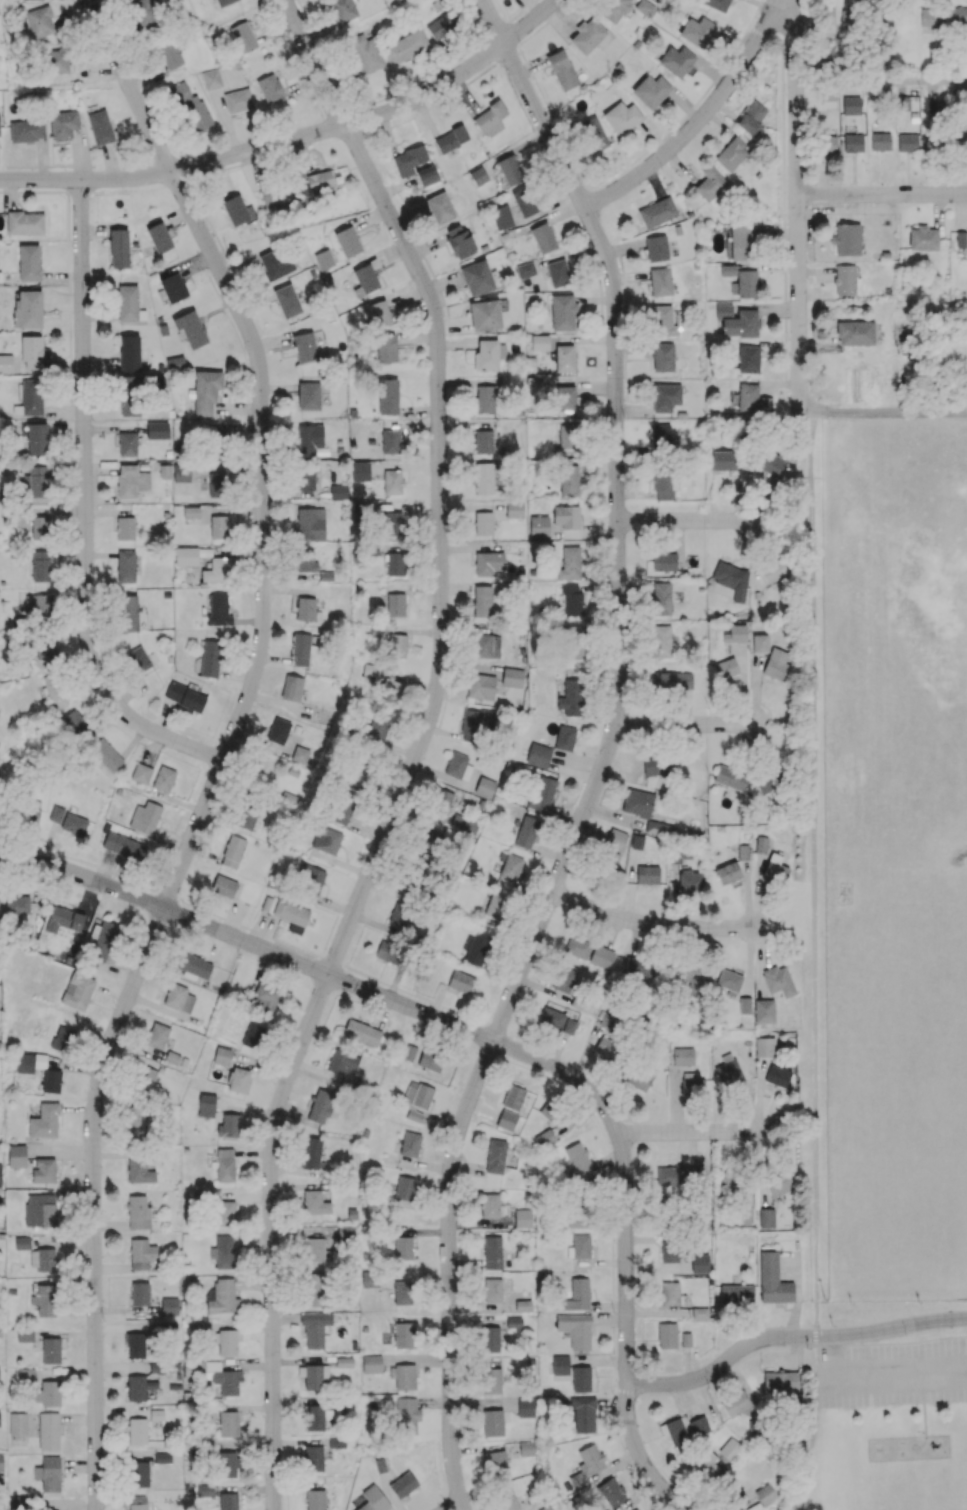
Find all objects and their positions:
building: (223, 2)
building: (716, 4)
building: (644, 7)
building: (342, 10)
building: (614, 10)
building: (144, 12)
building: (958, 15)
building: (827, 16)
building: (846, 17)
building: (930, 17)
building: (40, 21)
road: (530, 24)
building: (441, 27)
building: (697, 31)
building: (243, 36)
building: (587, 36)
building: (405, 47)
building: (169, 53)
building: (365, 53)
road: (308, 55)
building: (55, 61)
building: (676, 61)
building: (562, 70)
building: (211, 79)
road: (882, 82)
road: (132, 88)
building: (269, 88)
building: (651, 90)
road: (426, 93)
building: (851, 99)
building: (238, 100)
building: (190, 108)
road: (338, 117)
building: (622, 117)
building: (490, 118)
building: (752, 118)
road: (698, 121)
building: (62, 124)
building: (100, 127)
building: (26, 130)
building: (593, 134)
building: (450, 140)
building: (880, 141)
building: (959, 141)
building: (853, 142)
building: (907, 142)
building: (932, 143)
building: (829, 144)
building: (732, 152)
building: (408, 159)
building: (509, 169)
road: (174, 175)
building: (427, 175)
building: (478, 176)
building: (712, 185)
road: (881, 196)
building: (524, 201)
road: (796, 204)
building: (440, 207)
building: (237, 209)
building: (657, 212)
building: (501, 217)
building: (25, 222)
building: (159, 237)
building: (543, 238)
building: (923, 238)
building: (846, 239)
building: (746, 240)
building: (961, 240)
building: (458, 241)
building: (347, 242)
building: (118, 248)
building: (656, 248)
building: (323, 259)
building: (29, 262)
building: (274, 263)
building: (525, 270)
building: (558, 273)
building: (477, 277)
building: (364, 280)
building: (742, 280)
building: (845, 280)
building: (660, 282)
building: (172, 287)
building: (287, 300)
building: (128, 304)
road: (882, 309)
building: (27, 310)
building: (723, 310)
building: (563, 312)
building: (380, 313)
building: (485, 315)
building: (663, 321)
building: (741, 324)
building: (190, 328)
building: (855, 333)
building: (539, 342)
building: (304, 347)
building: (385, 348)
building: (31, 351)
building: (129, 353)
building: (489, 354)
building: (663, 357)
building: (564, 358)
building: (748, 359)
building: (6, 363)
building: (175, 363)
building: (206, 392)
building: (308, 395)
building: (128, 396)
building: (387, 396)
building: (31, 397)
building: (665, 397)
building: (486, 398)
building: (565, 398)
road: (883, 413)
building: (660, 435)
building: (568, 436)
building: (36, 439)
building: (309, 439)
building: (390, 441)
building: (483, 442)
building: (127, 444)
building: (723, 460)
building: (769, 463)
building: (360, 471)
building: (200, 477)
building: (484, 478)
building: (131, 480)
building: (568, 480)
building: (392, 482)
building: (35, 483)
building: (662, 484)
building: (316, 486)
building: (514, 510)
road: (87, 512)
building: (190, 512)
building: (565, 515)
road: (683, 521)
building: (391, 522)
building: (310, 523)
building: (483, 523)
building: (219, 526)
building: (539, 526)
building: (39, 527)
building: (125, 528)
building: (189, 555)
building: (664, 561)
building: (488, 563)
building: (569, 563)
building: (309, 564)
building: (395, 564)
building: (40, 565)
building: (125, 566)
building: (216, 570)
building: (772, 570)
building: (732, 580)
building: (663, 598)
building: (573, 599)
building: (482, 600)
building: (395, 604)
building: (38, 605)
building: (305, 609)
building: (218, 610)
building: (128, 613)
building: (735, 634)
building: (662, 641)
building: (570, 642)
building: (759, 643)
building: (396, 645)
building: (486, 646)
building: (42, 649)
building: (300, 649)
building: (210, 658)
building: (137, 659)
building: (775, 664)
building: (725, 668)
building: (371, 670)
building: (512, 677)
building: (671, 680)
building: (480, 686)
building: (291, 688)
building: (388, 689)
building: (54, 690)
building: (184, 697)
building: (571, 697)
building: (478, 722)
building: (72, 723)
building: (378, 725)
road: (684, 725)
building: (278, 730)
building: (565, 738)
road: (607, 754)
building: (105, 755)
building: (538, 755)
building: (660, 764)
building: (458, 766)
building: (264, 771)
building: (140, 773)
building: (358, 774)
building: (731, 778)
building: (163, 779)
building: (766, 784)
building: (485, 787)
building: (541, 794)
building: (441, 800)
building: (637, 802)
building: (342, 807)
building: (247, 814)
road: (397, 814)
building: (28, 816)
building: (145, 817)
building: (69, 821)
building: (464, 823)
building: (526, 833)
road: (194, 836)
building: (615, 839)
building: (326, 840)
building: (429, 840)
building: (124, 846)
building: (232, 851)
building: (678, 856)
building: (612, 858)
park: (896, 858)
building: (511, 866)
building: (733, 867)
building: (775, 868)
road: (812, 872)
building: (647, 874)
building: (690, 880)
building: (308, 881)
building: (223, 886)
building: (495, 906)
building: (16, 907)
building: (286, 913)
building: (399, 915)
building: (63, 920)
road: (649, 926)
building: (103, 939)
building: (577, 947)
building: (476, 948)
building: (387, 953)
building: (601, 957)
building: (193, 966)
road: (322, 973)
building: (693, 977)
building: (564, 979)
building: (778, 980)
building: (460, 981)
building: (729, 981)
building: (77, 991)
building: (264, 997)
building: (178, 998)
building: (744, 1005)
building: (763, 1011)
building: (551, 1018)
building: (569, 1026)
building: (361, 1033)
building: (157, 1035)
building: (252, 1036)
building: (62, 1039)
building: (764, 1046)
building: (606, 1047)
building: (409, 1053)
building: (221, 1055)
building: (683, 1056)
building: (430, 1060)
building: (29, 1062)
building: (344, 1067)
building: (728, 1071)
building: (145, 1076)
building: (777, 1076)
building: (638, 1077)
building: (238, 1080)
building: (51, 1081)
building: (692, 1084)
building: (418, 1094)
building: (513, 1097)
building: (206, 1105)
building: (320, 1106)
building: (547, 1111)
building: (414, 1114)
building: (506, 1120)
building: (44, 1121)
building: (135, 1123)
building: (229, 1125)
road: (686, 1132)
building: (545, 1138)
building: (410, 1144)
building: (311, 1154)
building: (16, 1156)
building: (495, 1156)
building: (578, 1161)
building: (224, 1164)
building: (43, 1170)
building: (139, 1170)
building: (0, 1175)
building: (676, 1176)
building: (732, 1184)
building: (779, 1185)
building: (404, 1191)
building: (315, 1202)
building: (489, 1205)
building: (39, 1209)
building: (137, 1212)
building: (226, 1213)
building: (746, 1214)
building: (522, 1218)
building: (576, 1218)
building: (766, 1218)
building: (345, 1232)
building: (21, 1243)
building: (579, 1247)
building: (403, 1248)
building: (314, 1250)
building: (670, 1250)
building: (225, 1252)
building: (492, 1252)
building: (142, 1254)
building: (42, 1259)
building: (699, 1263)
building: (369, 1279)
building: (773, 1280)
building: (315, 1289)
building: (492, 1290)
building: (402, 1292)
building: (139, 1293)
building: (736, 1293)
building: (578, 1294)
building: (672, 1294)
building: (222, 1297)
building: (44, 1300)
building: (522, 1305)
building: (169, 1306)
building: (314, 1328)
building: (575, 1330)
building: (0, 1331)
road: (625, 1332)
building: (24, 1334)
building: (403, 1335)
building: (667, 1335)
road: (790, 1336)
building: (489, 1339)
building: (685, 1340)
building: (228, 1341)
building: (135, 1345)
building: (50, 1350)
road: (833, 1356)
building: (371, 1363)
building: (560, 1365)
parking lot: (891, 1374)
road: (901, 1374)
building: (25, 1375)
building: (215, 1375)
building: (313, 1376)
building: (403, 1376)
building: (581, 1379)
building: (491, 1380)
building: (780, 1380)
building: (138, 1388)
building: (47, 1393)
building: (735, 1403)
building: (526, 1407)
building: (582, 1413)
building: (407, 1415)
building: (314, 1418)
building: (493, 1422)
building: (17, 1424)
building: (228, 1424)
building: (698, 1426)
park: (885, 1427)
building: (137, 1430)
building: (48, 1431)
building: (676, 1431)
building: (336, 1442)
building: (527, 1448)
building: (730, 1449)
building: (313, 1458)
building: (1, 1461)
building: (497, 1463)
building: (227, 1464)
building: (709, 1464)
building: (587, 1465)
building: (48, 1473)
building: (138, 1474)
building: (403, 1484)
building: (204, 1489)
building: (611, 1491)
building: (765, 1494)
building: (315, 1499)
building: (373, 1499)
building: (506, 1499)
building: (228, 1501)
building: (138, 1502)
road: (457, 1507)
building: (548, 1508)
building: (636, 1509)
building: (783, 1509)

